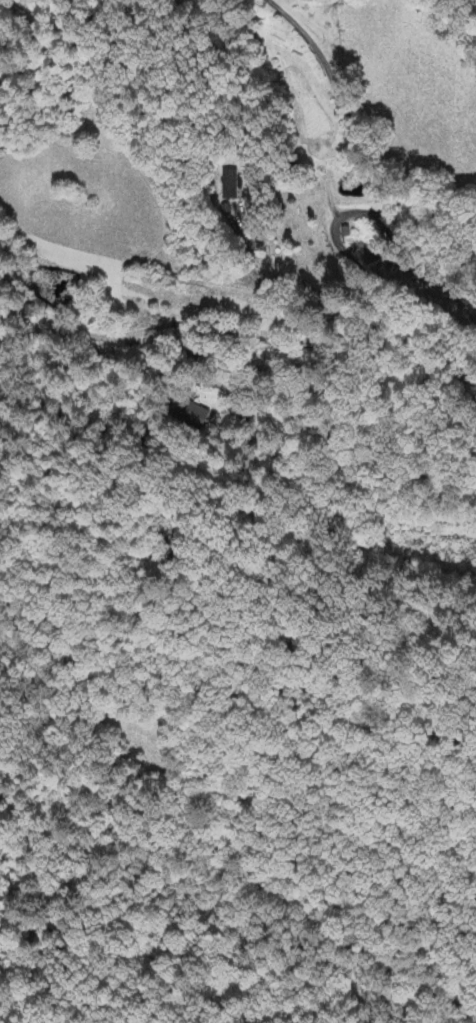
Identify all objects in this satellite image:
road: (366, 161)
building: (232, 184)

